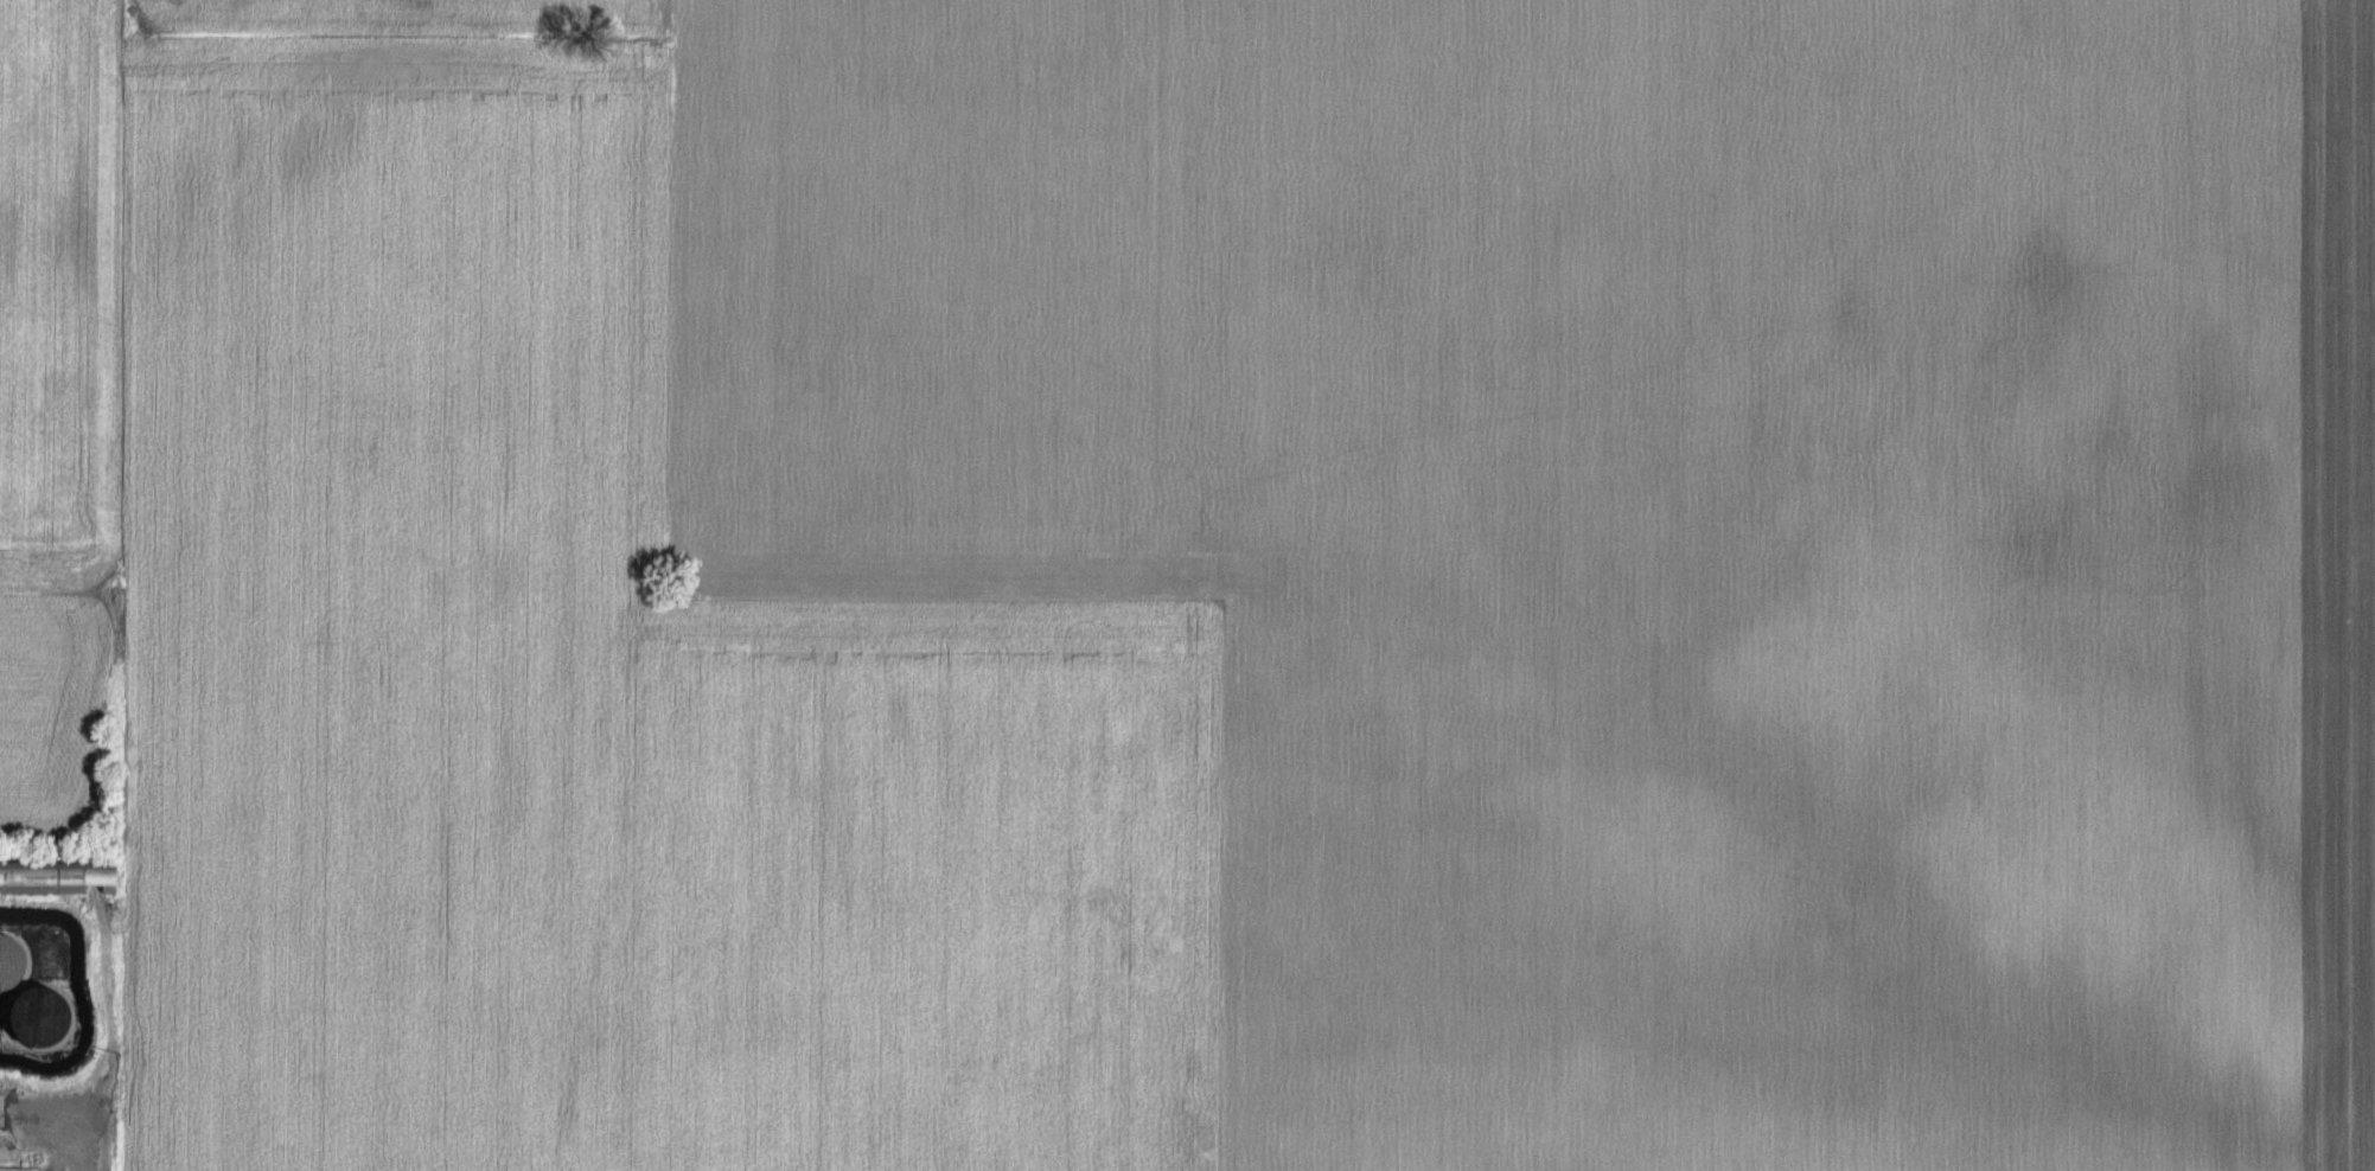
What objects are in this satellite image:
building: (7, 962)
storage tank: (11, 964)
building: (0, 1116)
road: (69, 1138)

